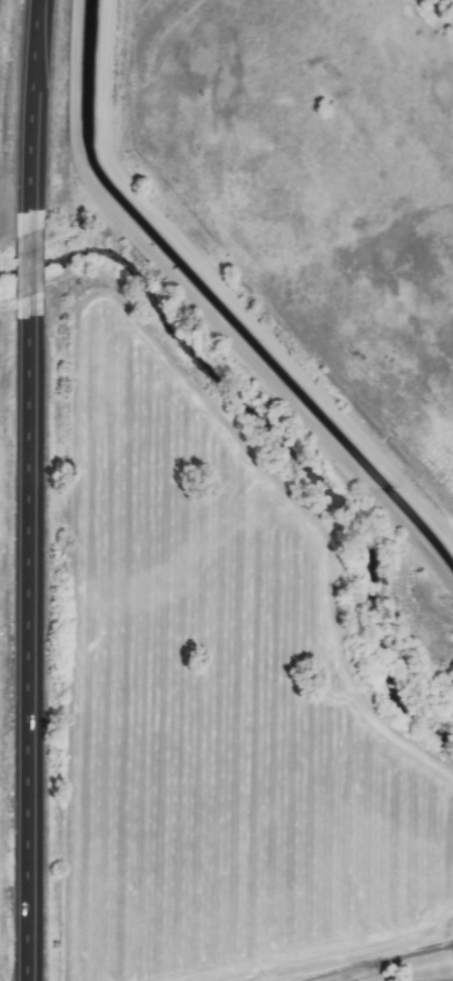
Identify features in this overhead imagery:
road: (26, 103)
road: (23, 261)
road: (237, 280)
road: (203, 322)
road: (22, 648)
road: (378, 962)
road: (413, 973)

